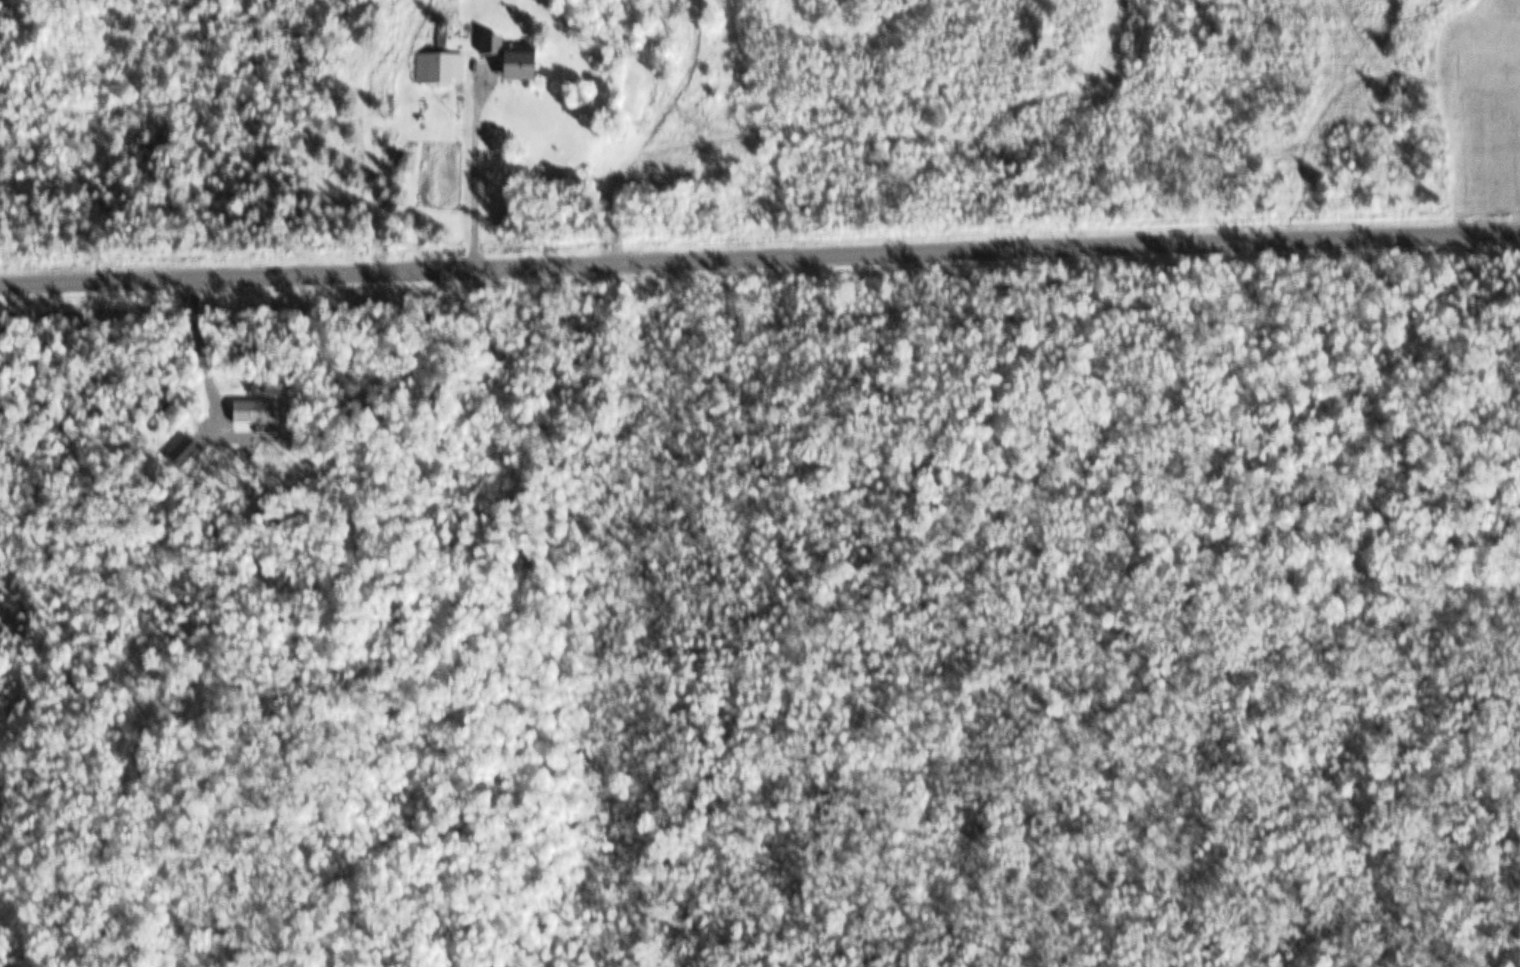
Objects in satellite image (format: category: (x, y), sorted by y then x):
building: (512, 59)
building: (441, 69)
road: (760, 252)
building: (259, 414)

